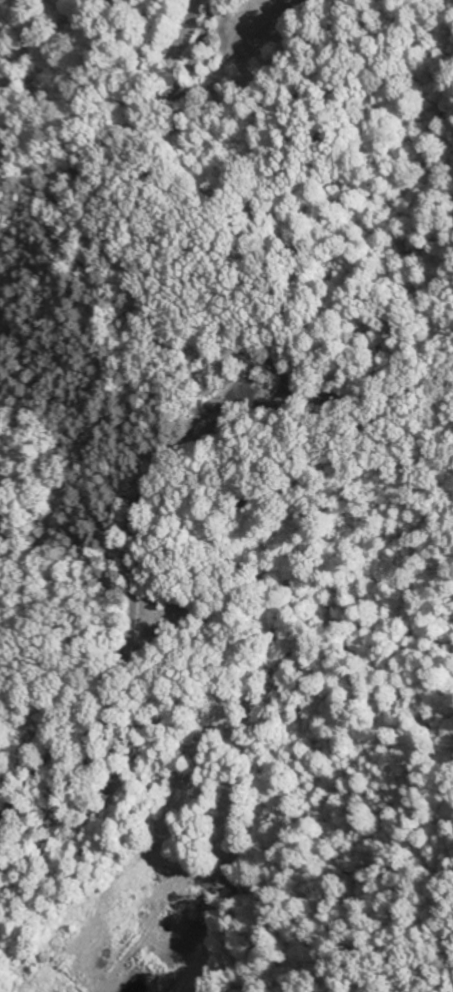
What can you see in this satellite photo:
road: (74, 473)
road: (143, 502)

